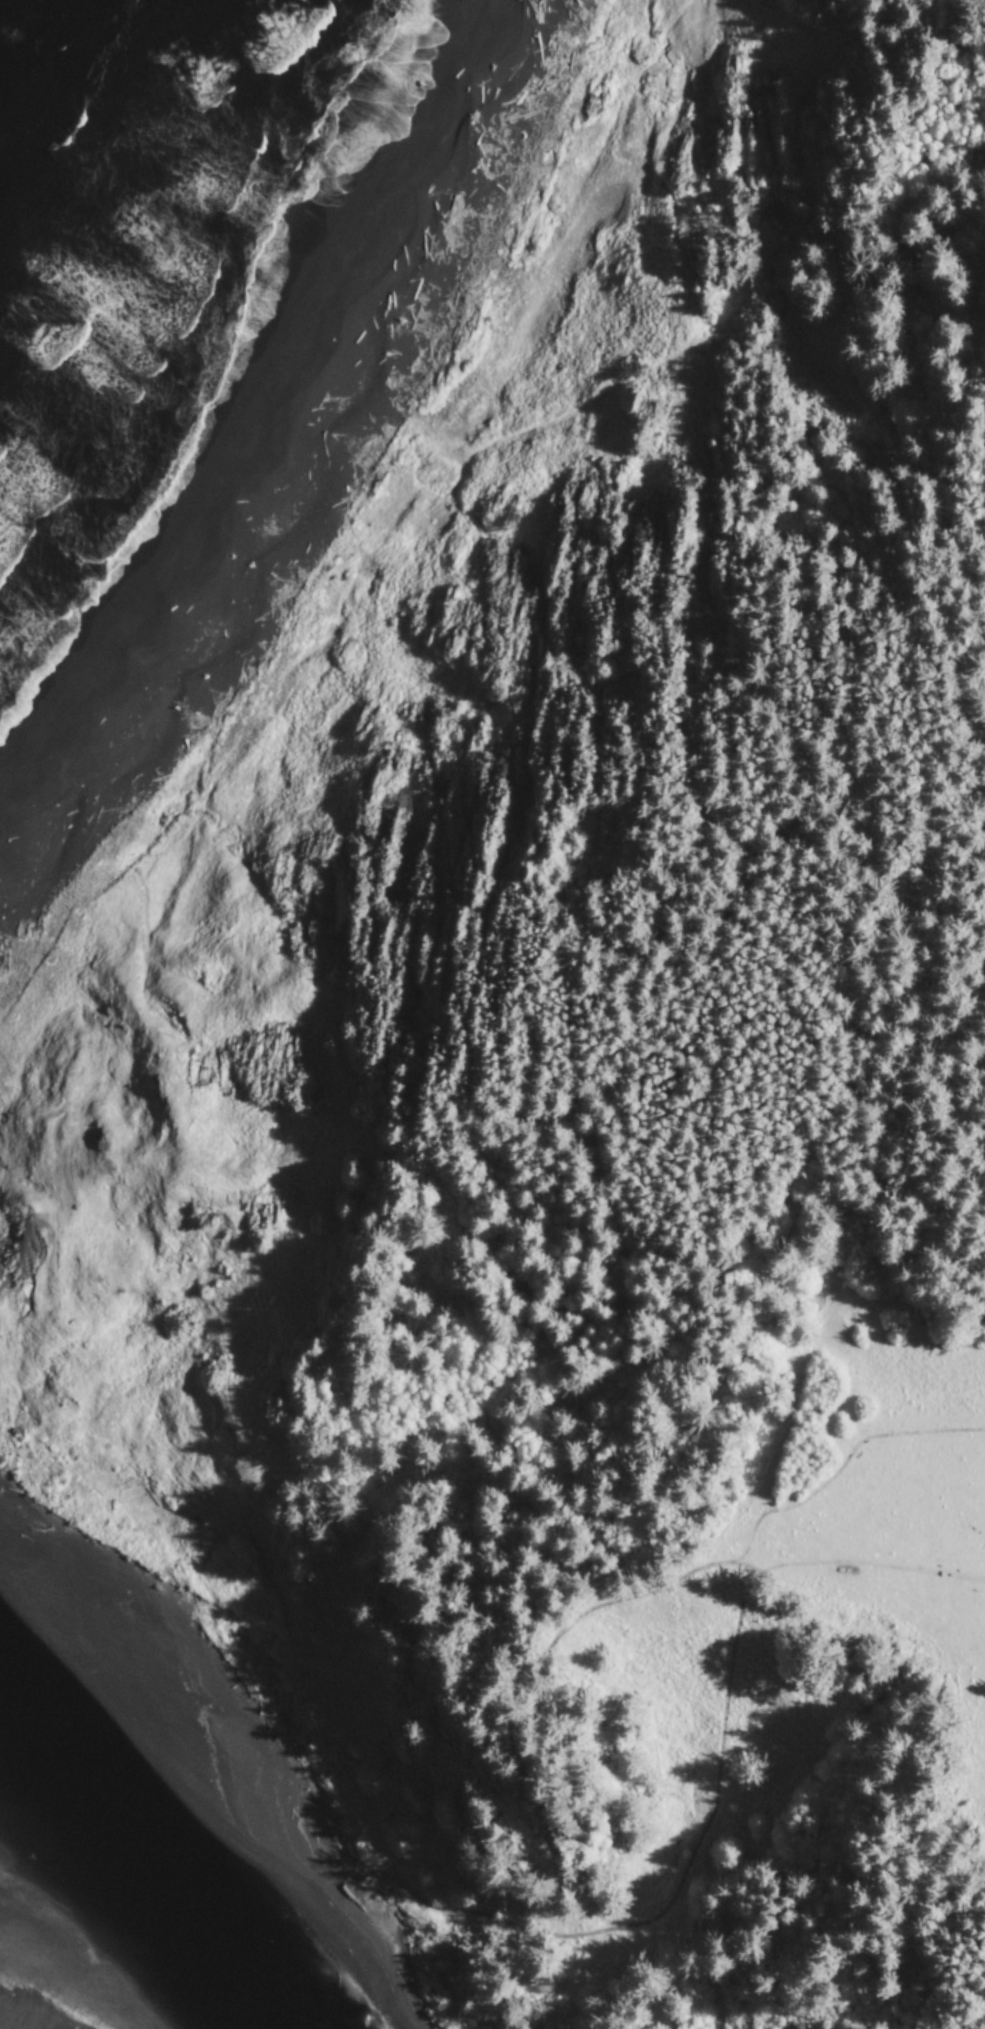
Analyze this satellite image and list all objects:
river: (107, 1963)

